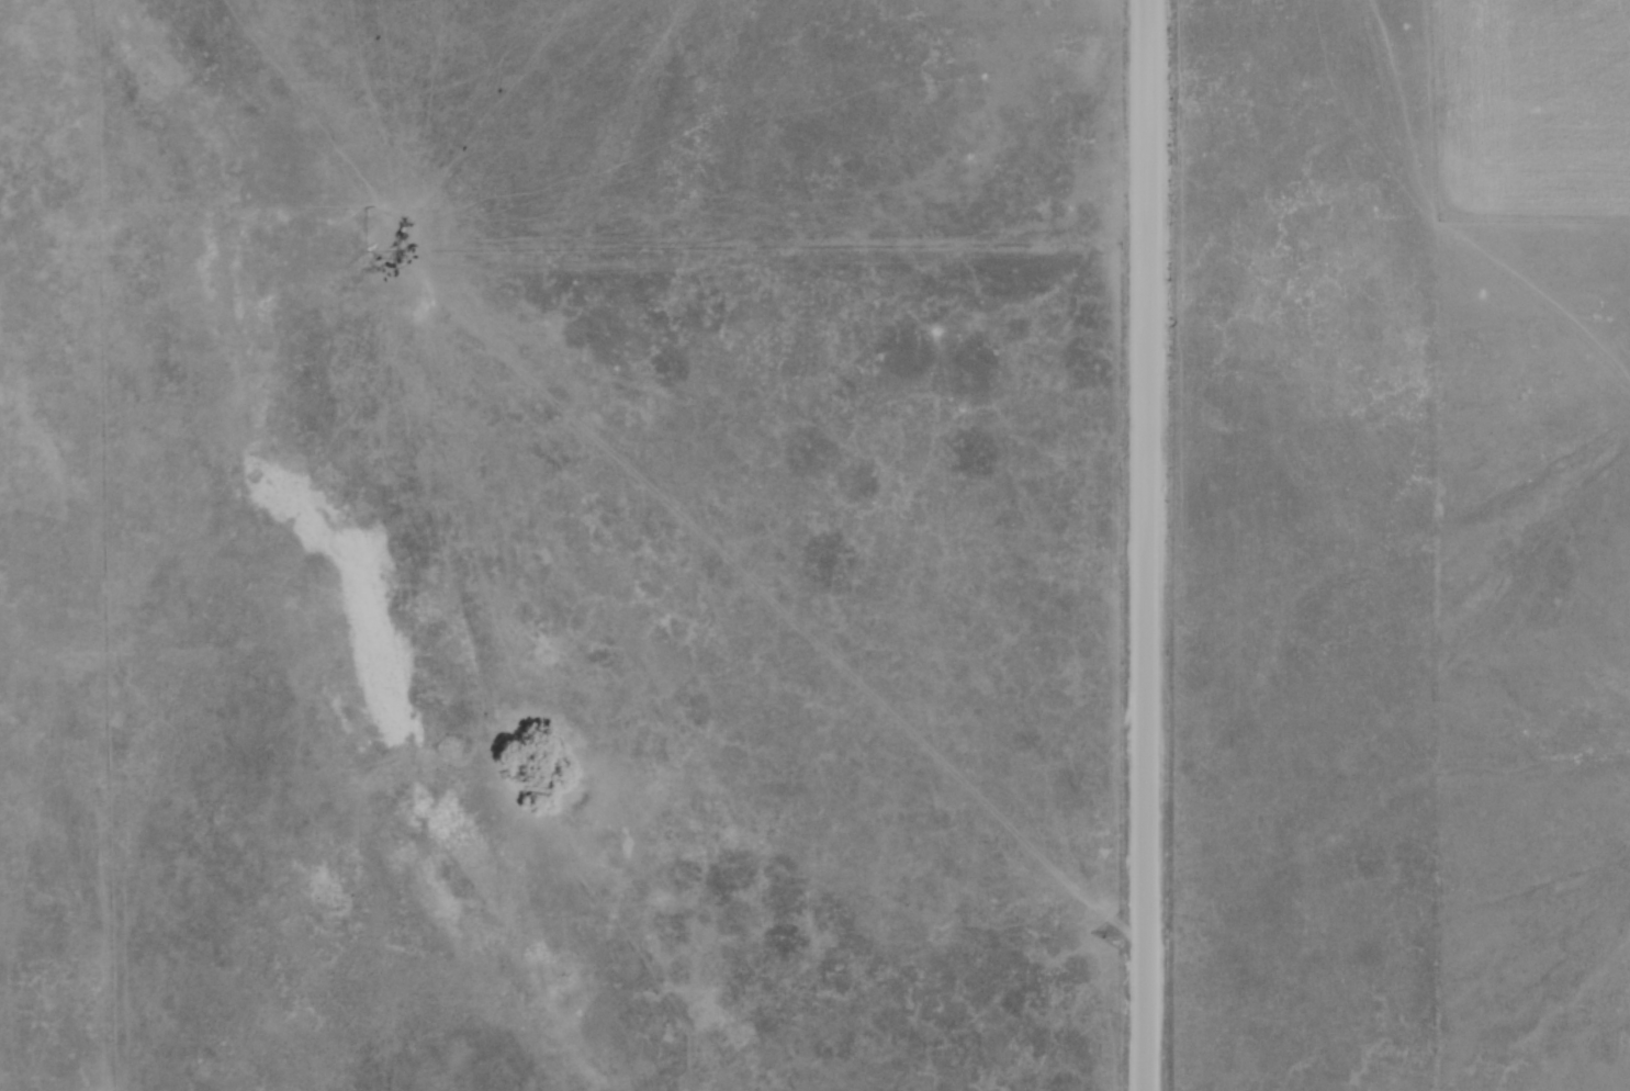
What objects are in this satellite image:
road: (1150, 545)

